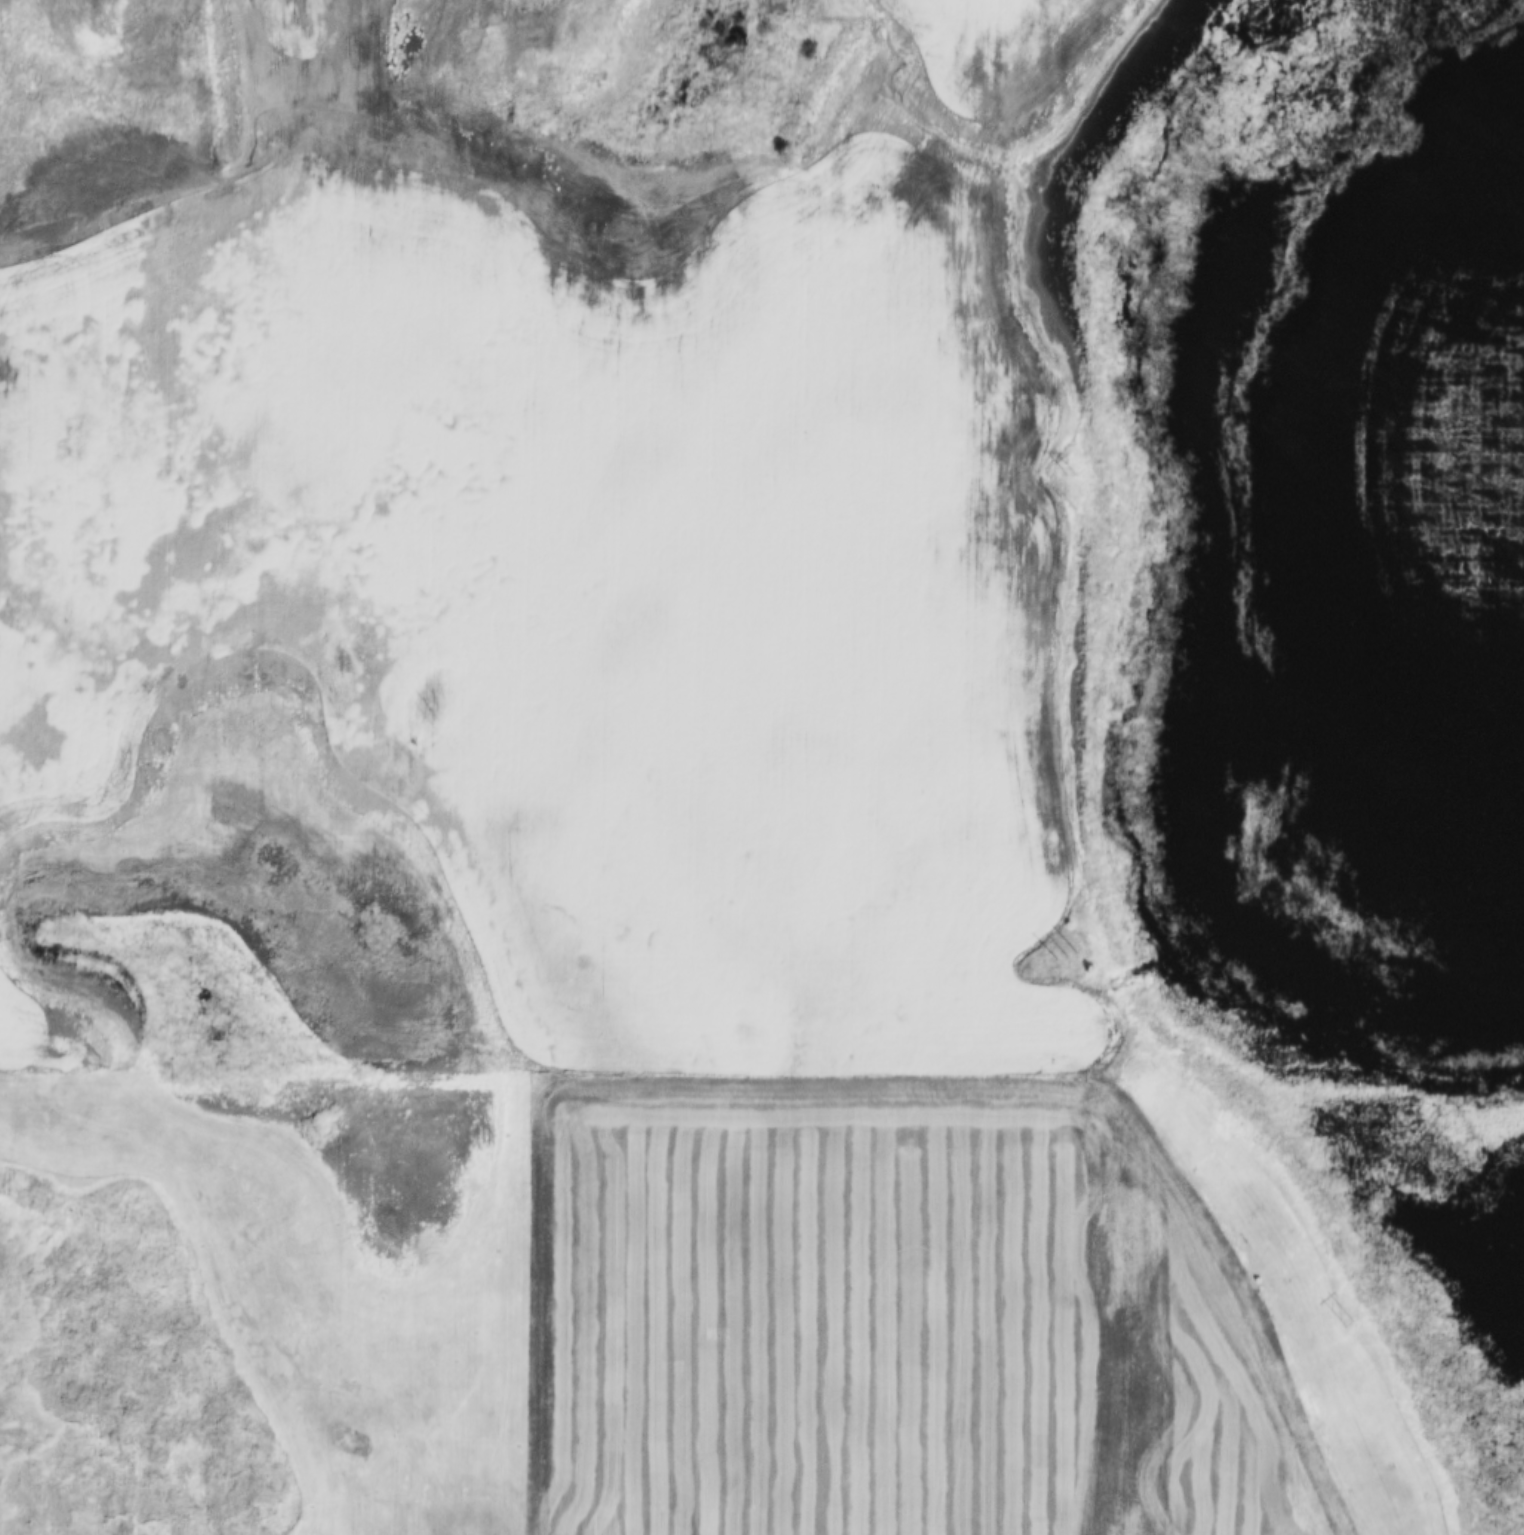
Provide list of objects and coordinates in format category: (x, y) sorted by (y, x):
power tower: (1069, 472)
power tower: (1059, 951)
power tower: (1338, 1322)

